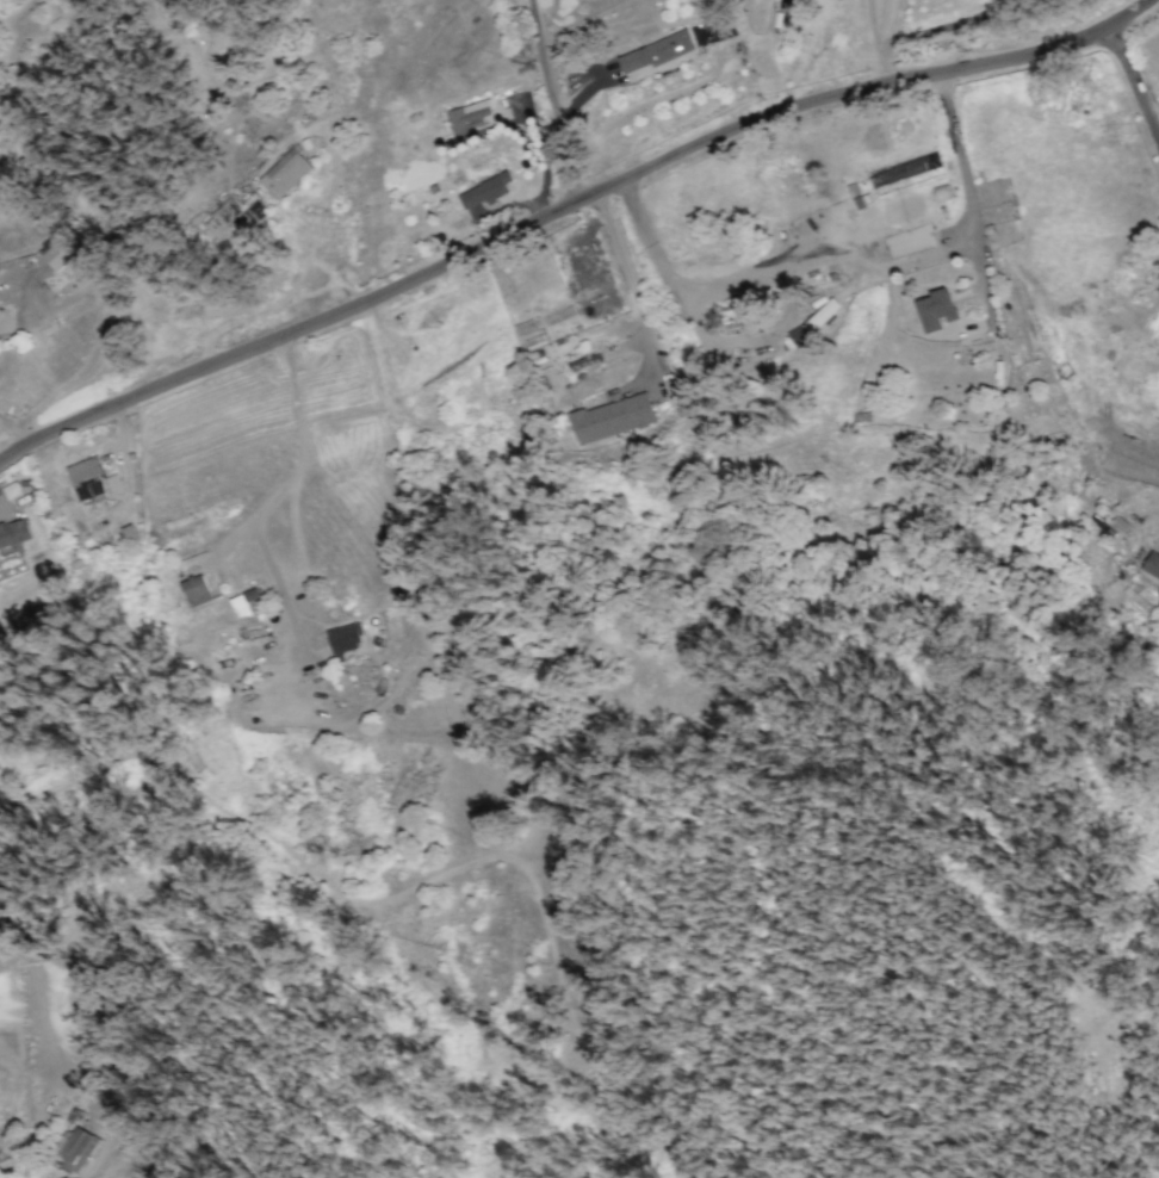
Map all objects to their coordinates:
building: (655, 51)
road: (1134, 79)
road: (551, 103)
building: (466, 114)
building: (484, 190)
building: (258, 199)
road: (565, 209)
building: (56, 256)
road: (850, 260)
road: (626, 268)
building: (936, 309)
building: (820, 315)
building: (523, 328)
building: (798, 336)
building: (612, 417)
building: (92, 479)
road: (272, 496)
building: (14, 533)
building: (1151, 565)
building: (194, 590)
building: (243, 602)
building: (255, 625)
building: (346, 637)
building: (0, 768)
road: (4, 880)
building: (78, 1149)

